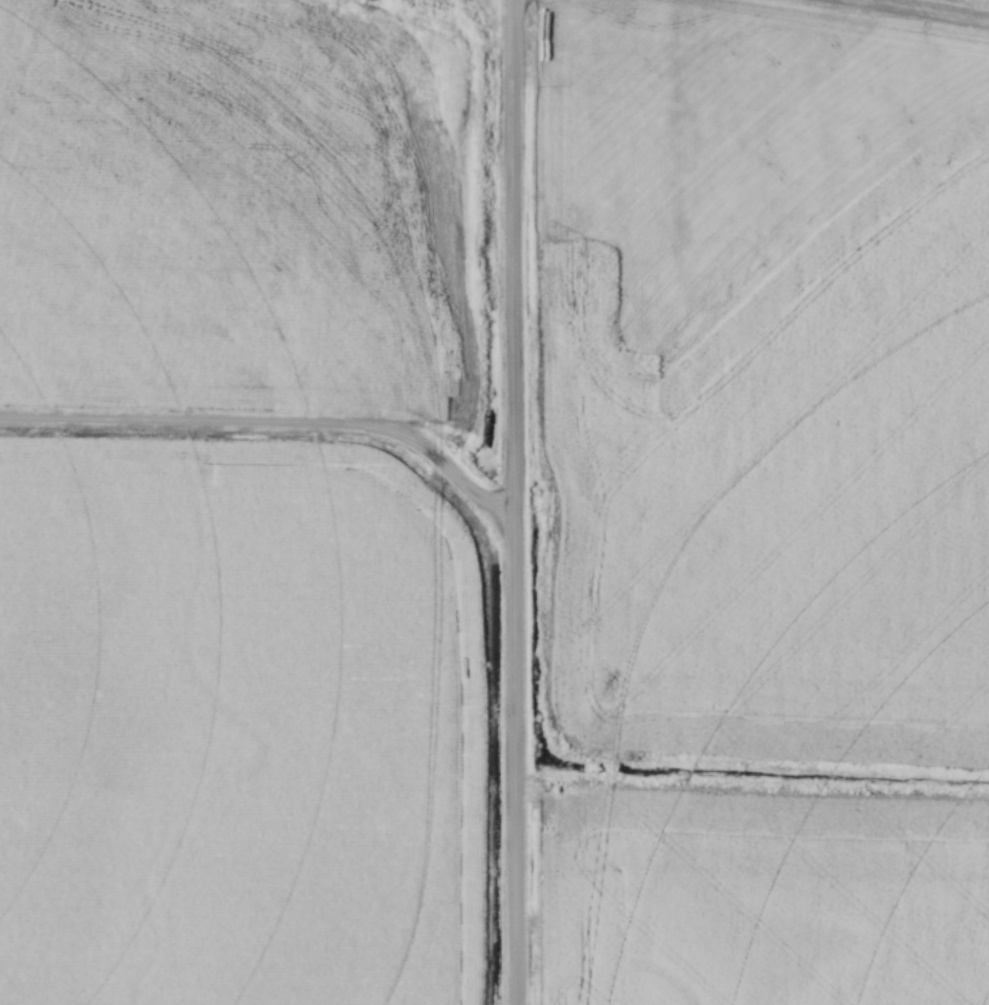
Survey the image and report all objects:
road: (270, 421)
road: (515, 502)

